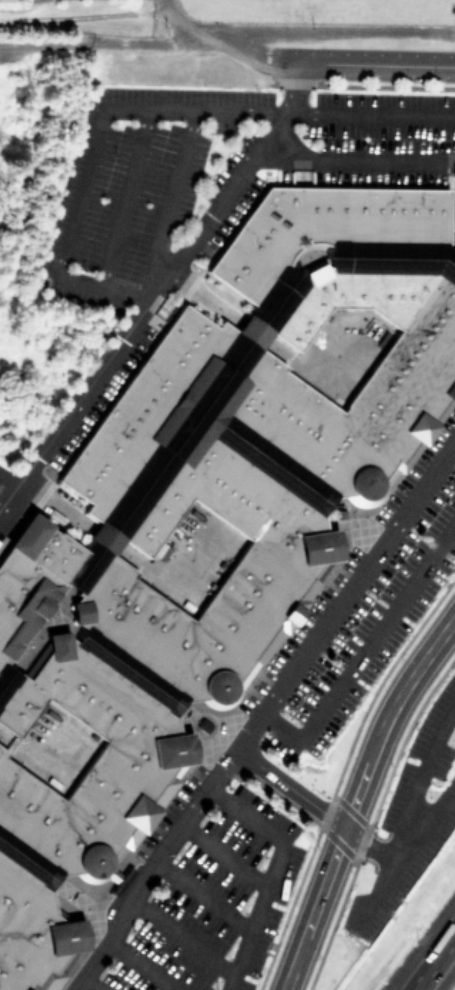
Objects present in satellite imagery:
crop: (210, 12)
road: (211, 36)
road: (111, 44)
road: (362, 64)
road: (146, 112)
road: (355, 159)
road: (173, 193)
road: (122, 200)
parking lot: (194, 210)
building: (318, 229)
building: (453, 237)
road: (332, 259)
road: (157, 289)
road: (272, 346)
building: (407, 385)
building: (141, 408)
road: (264, 457)
building: (156, 462)
road: (159, 464)
road: (7, 484)
road: (57, 504)
road: (356, 523)
road: (106, 539)
building: (278, 566)
building: (31, 580)
road: (172, 585)
road: (64, 625)
road: (40, 627)
road: (363, 650)
road: (129, 672)
building: (128, 673)
road: (5, 676)
building: (6, 678)
road: (260, 715)
road: (208, 729)
parking lot: (282, 751)
road: (33, 763)
building: (90, 766)
road: (424, 769)
road: (291, 788)
road: (356, 797)
parking lot: (409, 817)
road: (426, 820)
road: (369, 846)
road: (223, 855)
building: (27, 861)
road: (27, 861)
road: (269, 873)
road: (377, 892)
road: (201, 895)
road: (85, 904)
building: (33, 933)
road: (180, 938)
road: (433, 961)
road: (141, 966)
road: (90, 983)

